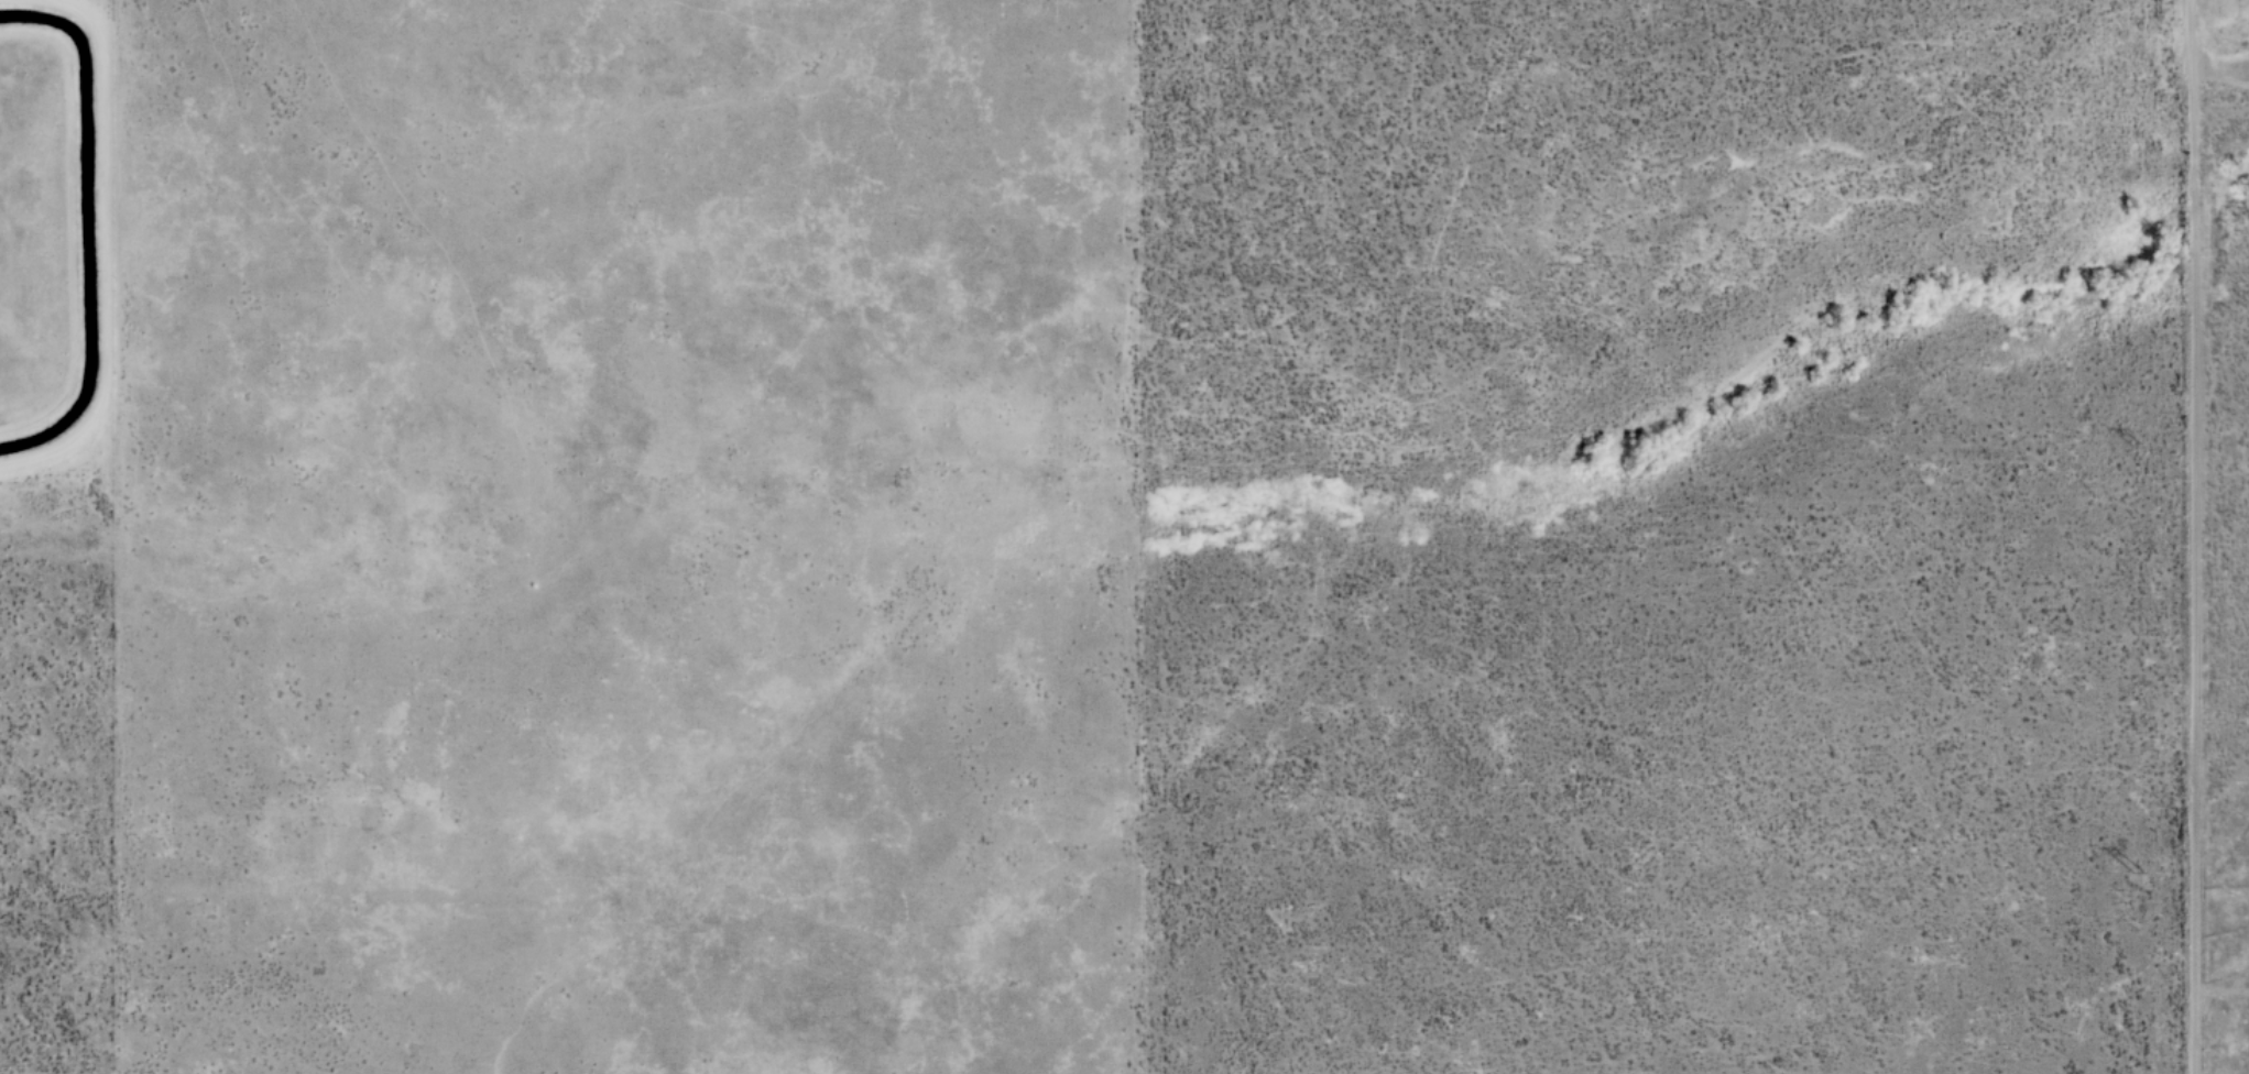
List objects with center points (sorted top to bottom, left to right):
power tower: (2135, 445)
road: (2193, 536)
power tower: (2133, 876)

